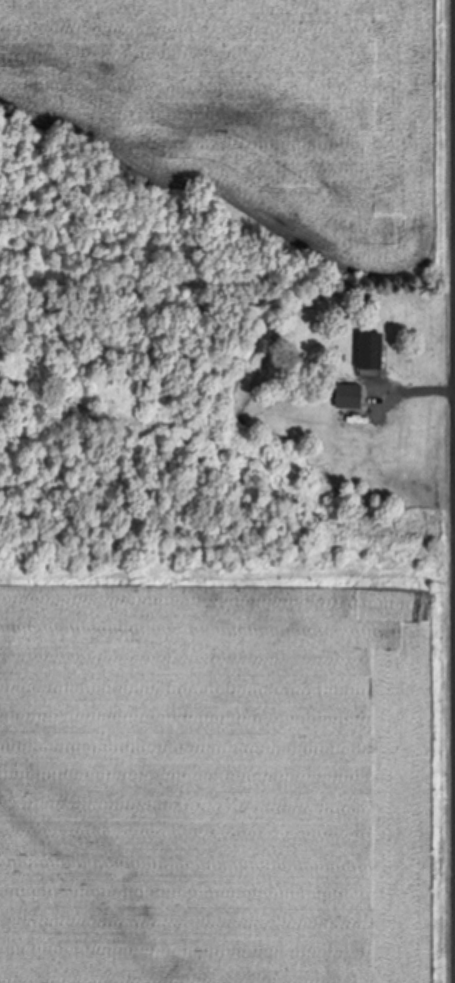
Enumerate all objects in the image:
building: (376, 348)
building: (354, 394)

